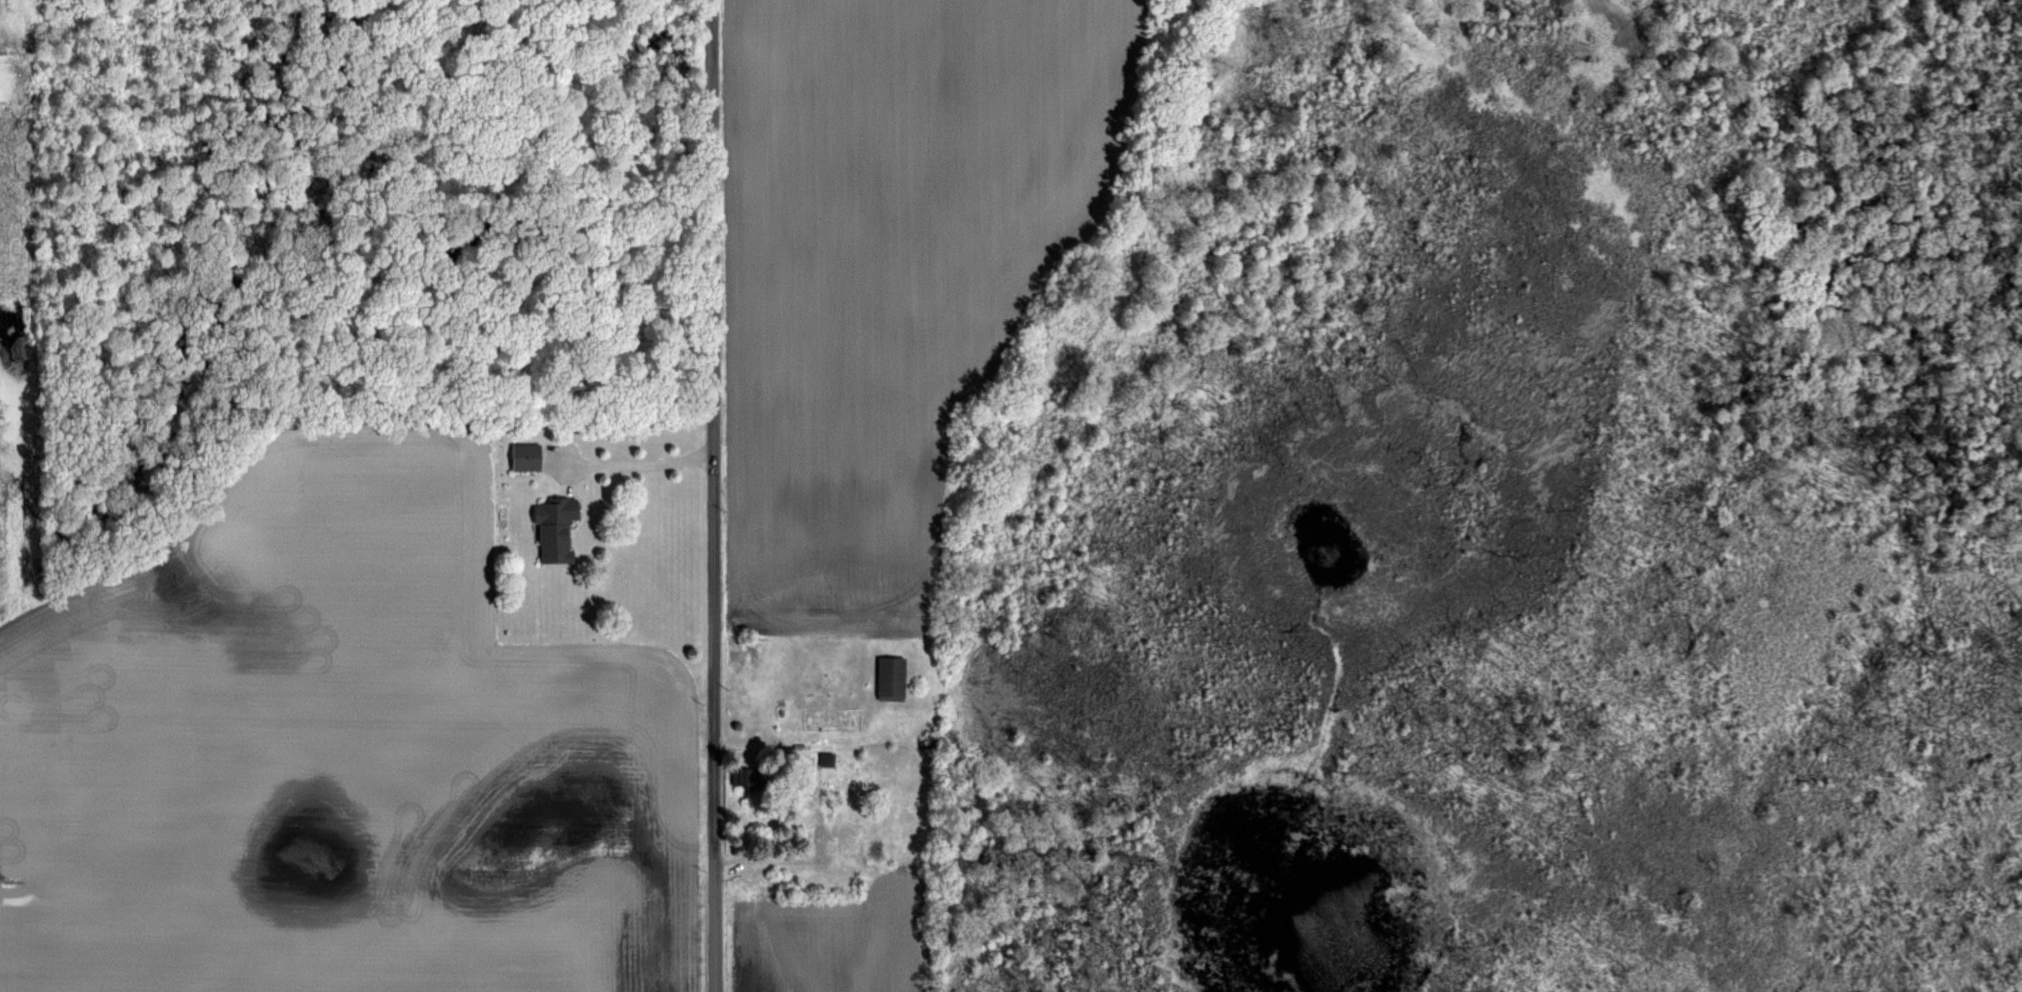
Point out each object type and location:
building: (528, 457)
road: (633, 460)
road: (708, 496)
building: (557, 528)
building: (893, 677)
building: (828, 759)
building: (748, 777)
building: (844, 845)
road: (765, 864)

